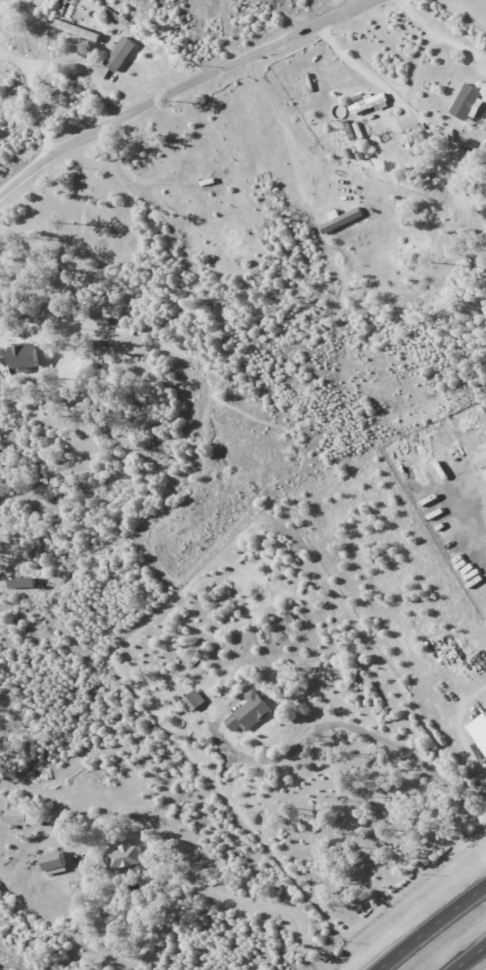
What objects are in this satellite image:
road: (228, 31)
road: (431, 43)
building: (120, 53)
road: (63, 59)
road: (414, 71)
road: (371, 75)
road: (177, 87)
building: (370, 102)
building: (468, 102)
road: (38, 109)
road: (319, 167)
building: (342, 219)
road: (11, 325)
building: (23, 356)
building: (482, 459)
building: (485, 470)
building: (21, 583)
building: (195, 700)
building: (178, 701)
building: (250, 713)
road: (345, 725)
building: (479, 731)
building: (16, 815)
building: (126, 856)
building: (54, 863)
road: (233, 899)
road: (432, 927)
road: (470, 958)

